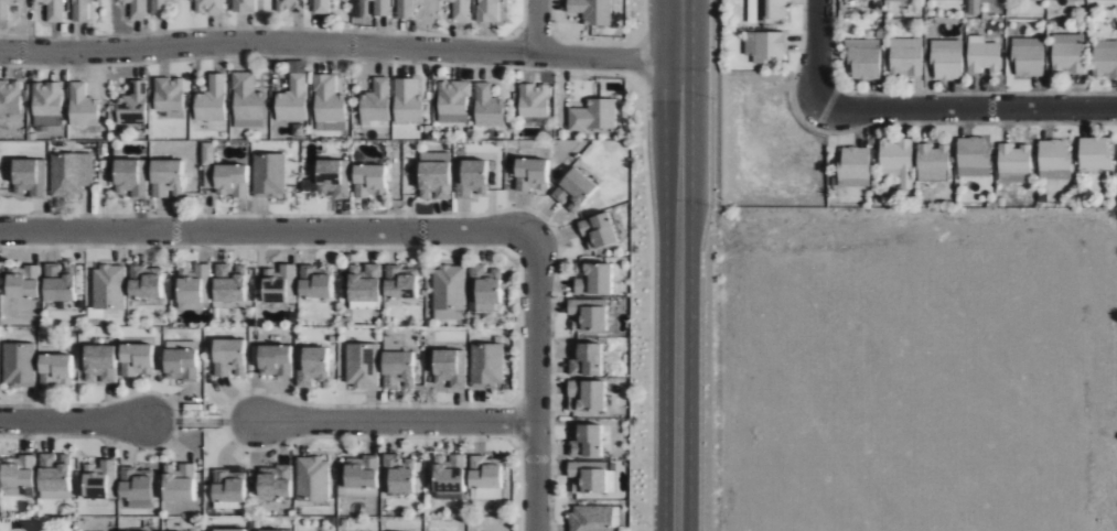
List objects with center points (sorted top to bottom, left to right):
building: (902, 0)
building: (1107, 0)
building: (212, 6)
building: (246, 6)
building: (292, 6)
building: (324, 6)
building: (383, 7)
building: (974, 7)
building: (7, 8)
building: (139, 8)
building: (161, 8)
building: (407, 8)
building: (55, 9)
building: (84, 9)
building: (462, 9)
building: (491, 10)
building: (766, 10)
building: (592, 11)
road: (643, 19)
road: (523, 20)
road: (550, 20)
road: (536, 26)
road: (256, 29)
road: (680, 29)
road: (533, 39)
road: (631, 42)
road: (588, 44)
road: (340, 45)
building: (764, 46)
road: (817, 54)
building: (1067, 54)
building: (905, 57)
building: (982, 57)
building: (1028, 57)
road: (640, 58)
building: (863, 58)
building: (1105, 58)
building: (946, 59)
road: (546, 69)
building: (170, 94)
building: (10, 97)
building: (247, 97)
building: (453, 97)
building: (49, 98)
building: (214, 99)
building: (329, 99)
building: (294, 100)
building: (377, 100)
building: (535, 100)
building: (409, 101)
building: (135, 105)
building: (84, 106)
building: (490, 107)
road: (970, 110)
building: (594, 116)
building: (1094, 153)
building: (971, 156)
building: (933, 158)
building: (896, 159)
building: (1013, 159)
building: (1053, 160)
building: (853, 166)
building: (71, 174)
building: (268, 174)
building: (529, 174)
building: (222, 175)
building: (432, 175)
building: (928, 175)
building: (29, 177)
building: (129, 177)
building: (470, 177)
building: (1019, 177)
building: (330, 180)
building: (367, 181)
building: (572, 189)
building: (597, 230)
road: (265, 231)
building: (592, 279)
building: (21, 282)
building: (143, 282)
building: (399, 282)
building: (227, 283)
building: (276, 283)
building: (313, 283)
building: (363, 286)
building: (193, 288)
building: (107, 289)
building: (485, 290)
building: (448, 292)
road: (663, 292)
road: (690, 293)
building: (586, 314)
building: (227, 358)
building: (584, 359)
building: (135, 360)
building: (180, 360)
building: (272, 360)
building: (98, 364)
building: (18, 365)
building: (311, 365)
building: (486, 365)
building: (361, 366)
building: (449, 368)
building: (53, 370)
building: (397, 370)
road: (534, 382)
building: (584, 395)
road: (387, 422)
road: (78, 423)
building: (15, 472)
building: (358, 473)
building: (447, 474)
building: (398, 475)
building: (53, 477)
building: (587, 477)
building: (312, 479)
building: (483, 479)
building: (99, 480)
building: (272, 481)
building: (176, 483)
building: (133, 484)
building: (227, 488)
building: (590, 518)
building: (227, 530)
building: (264, 530)

